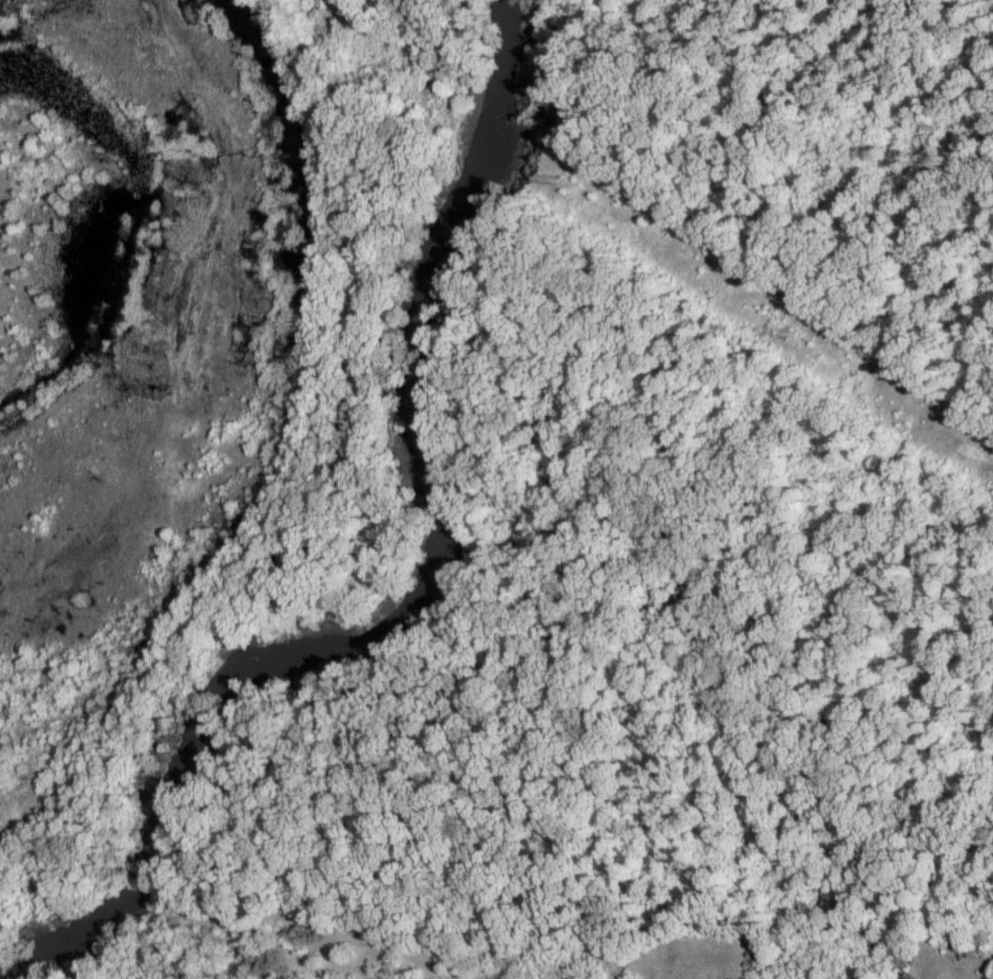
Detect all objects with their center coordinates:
power tower: (551, 182)
power tower: (784, 335)

